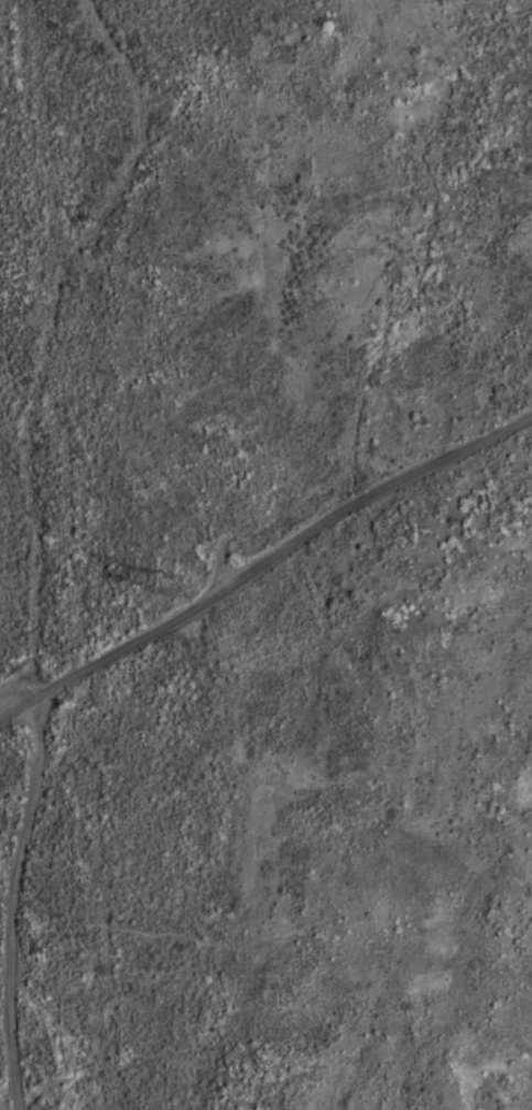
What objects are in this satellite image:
road: (262, 560)
power tower: (169, 581)
road: (6, 901)

